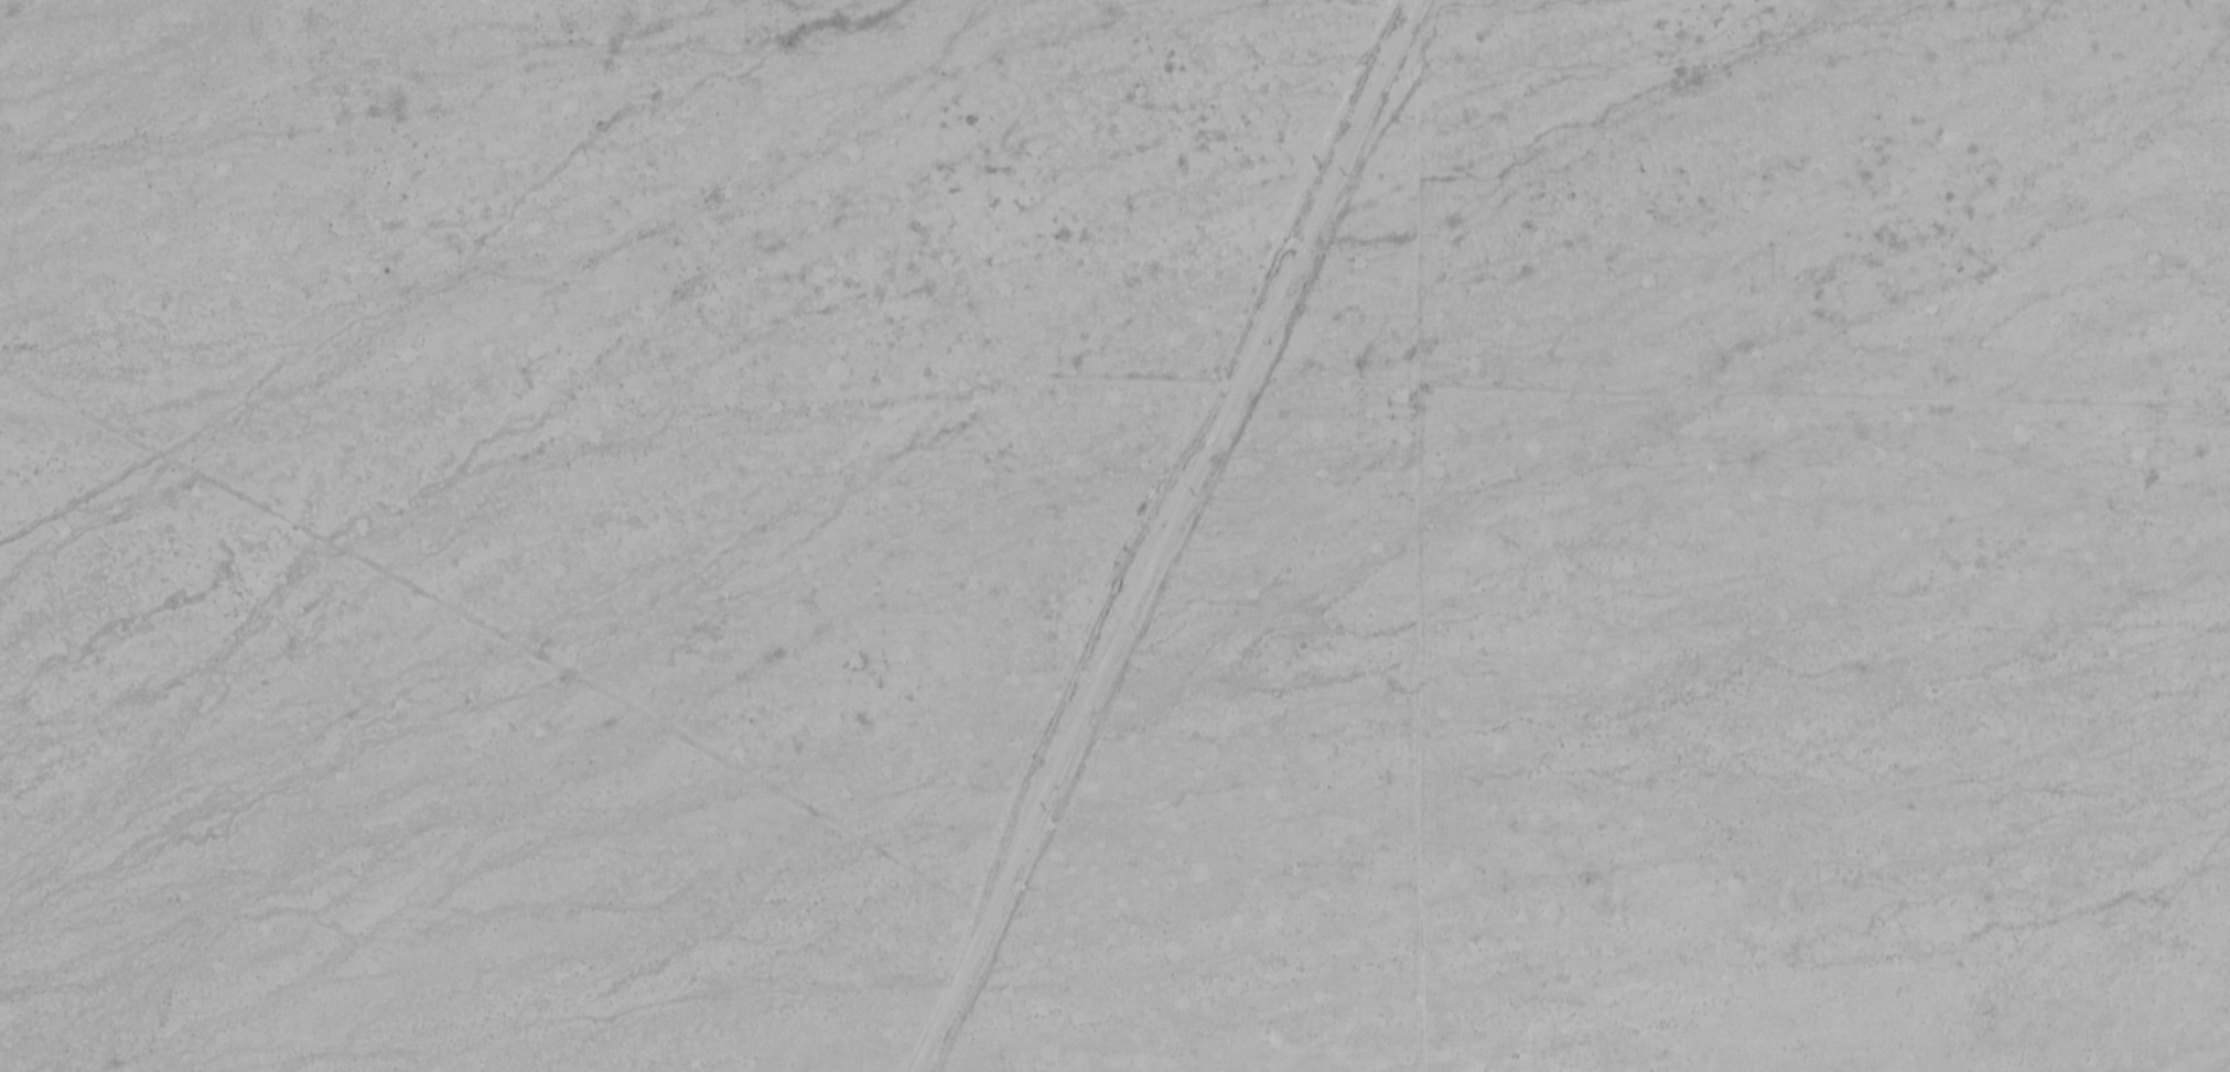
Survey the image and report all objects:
road: (1166, 539)

